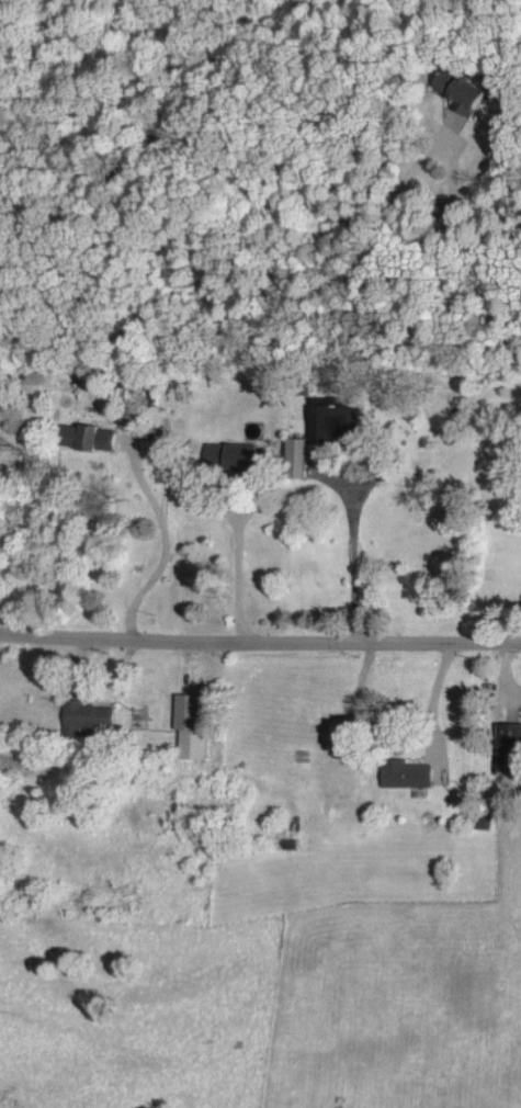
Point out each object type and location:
building: (473, 93)
road: (264, 285)
building: (329, 418)
building: (92, 436)
building: (247, 454)
building: (301, 456)
road: (165, 498)
road: (352, 556)
road: (236, 557)
road: (260, 638)
building: (91, 715)
building: (193, 725)
building: (507, 731)
building: (400, 771)
building: (478, 821)

